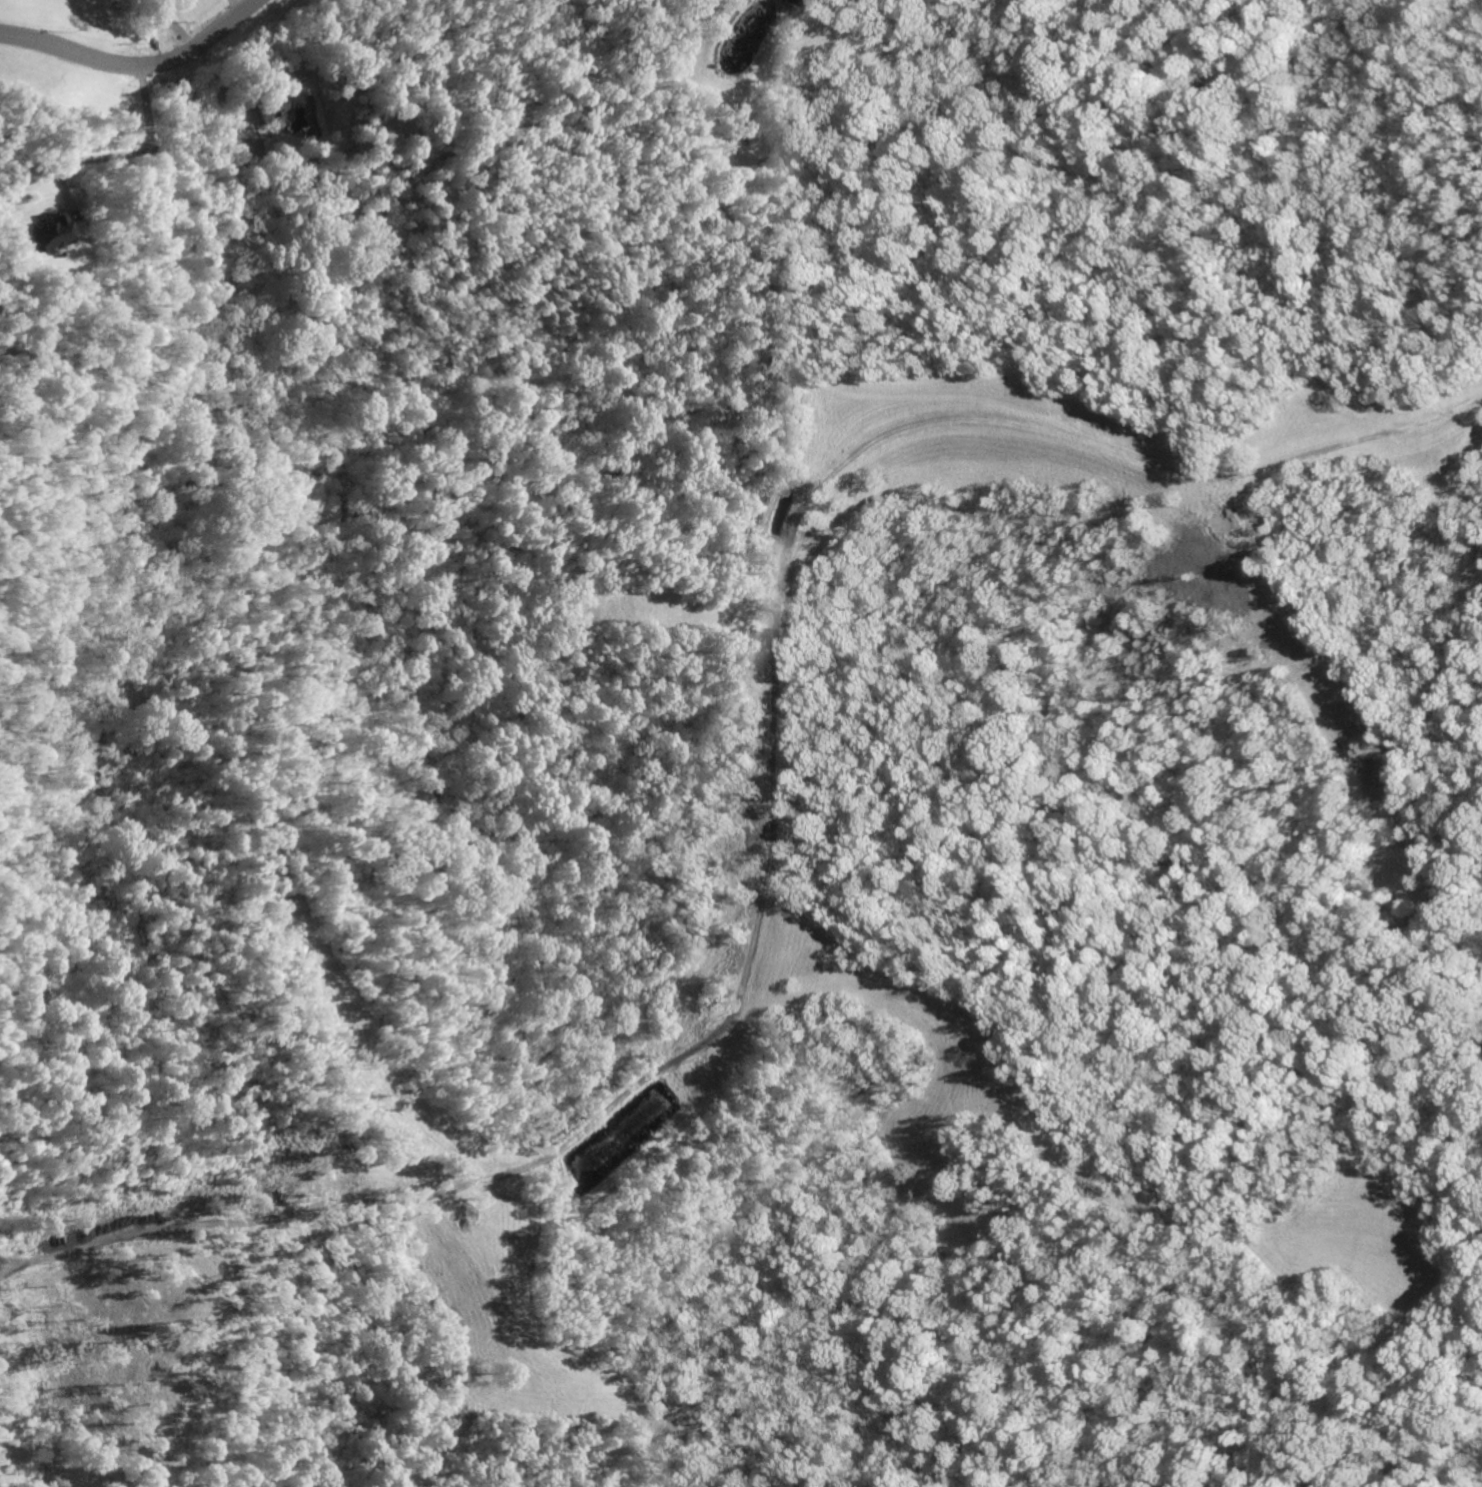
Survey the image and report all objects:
building: (809, 0)
building: (784, 4)
road: (174, 24)
road: (137, 67)
building: (273, 109)
road: (123, 157)
building: (38, 235)

